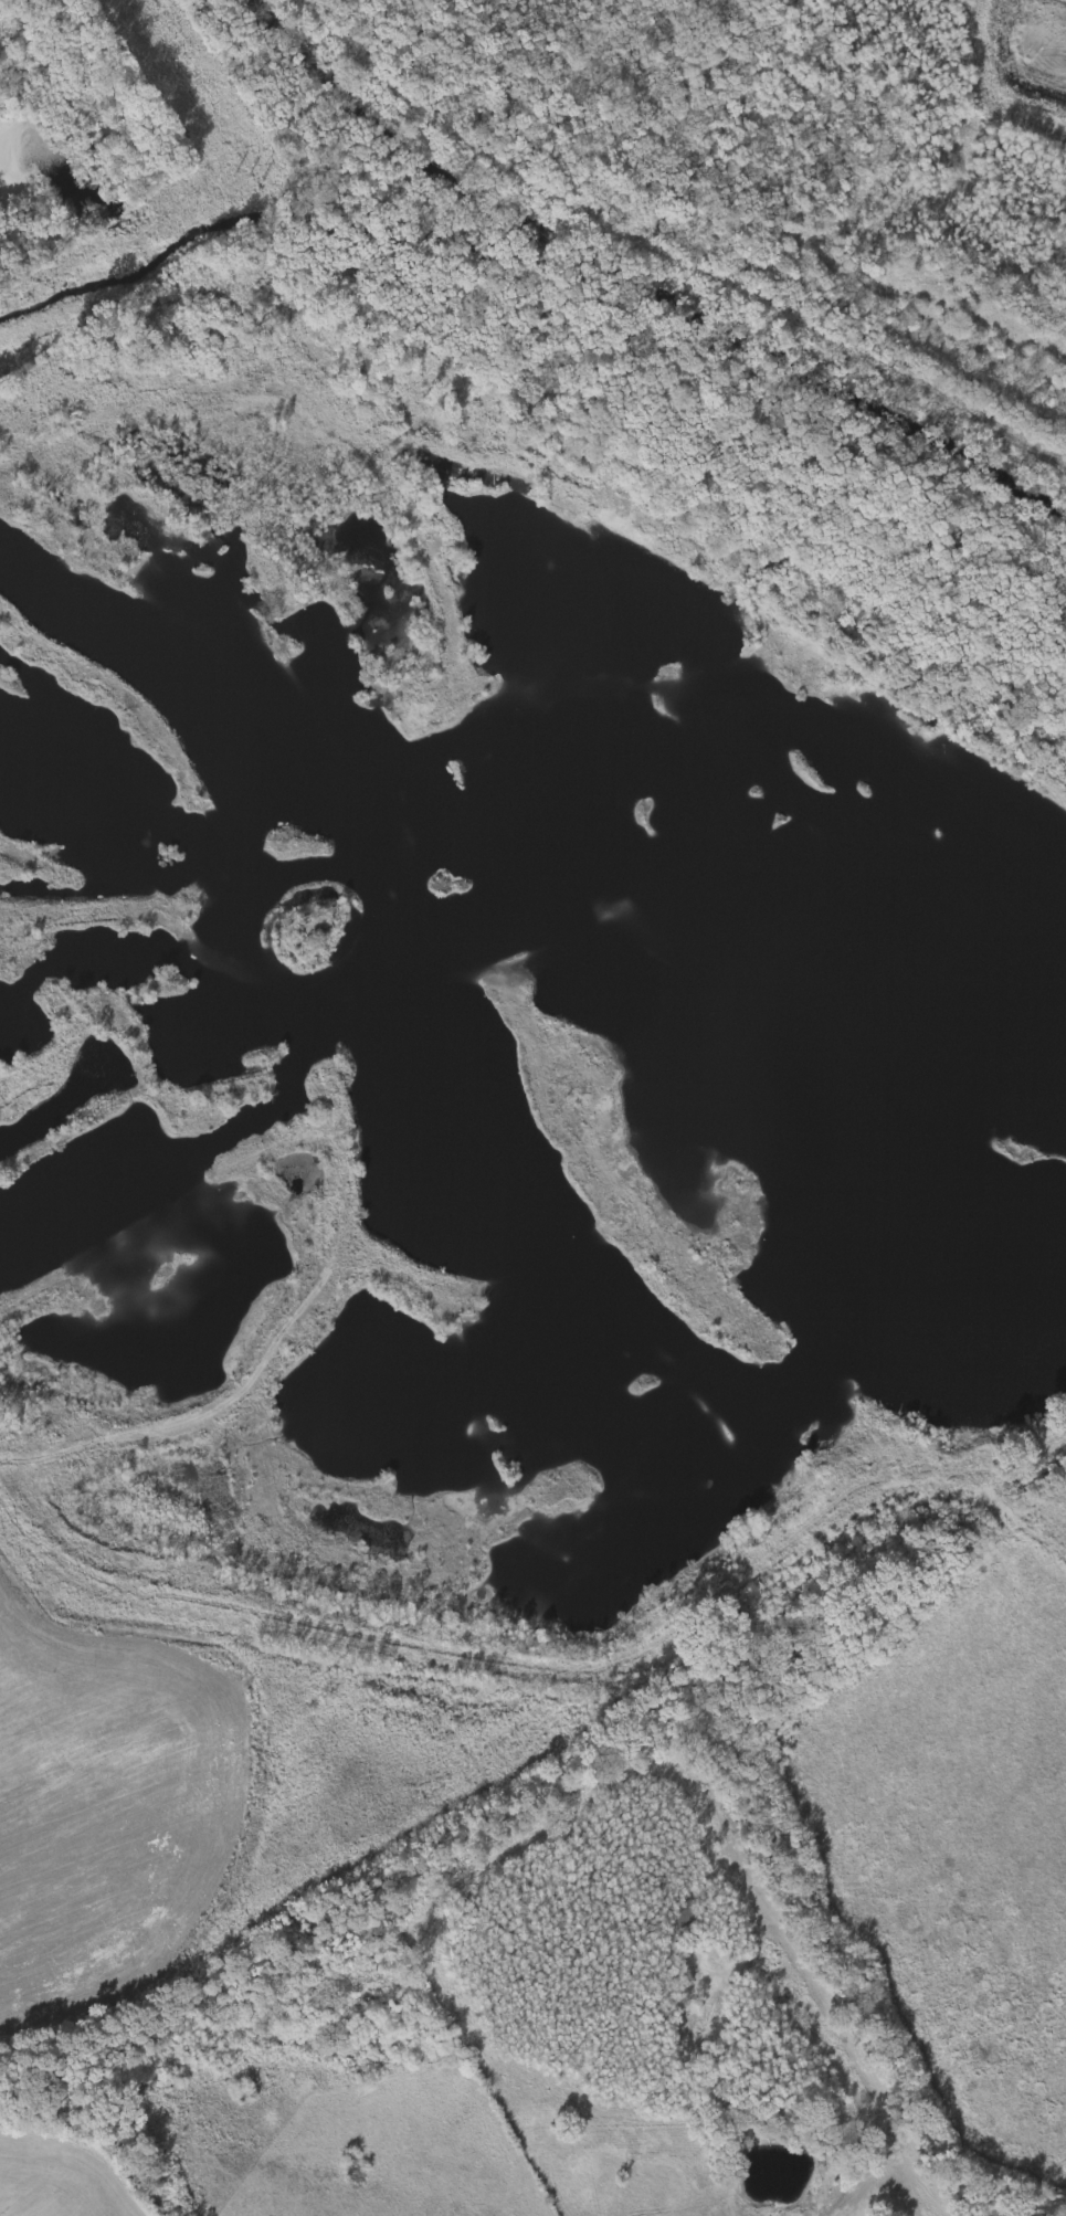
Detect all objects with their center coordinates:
power tower: (249, 172)
road: (145, 1068)

